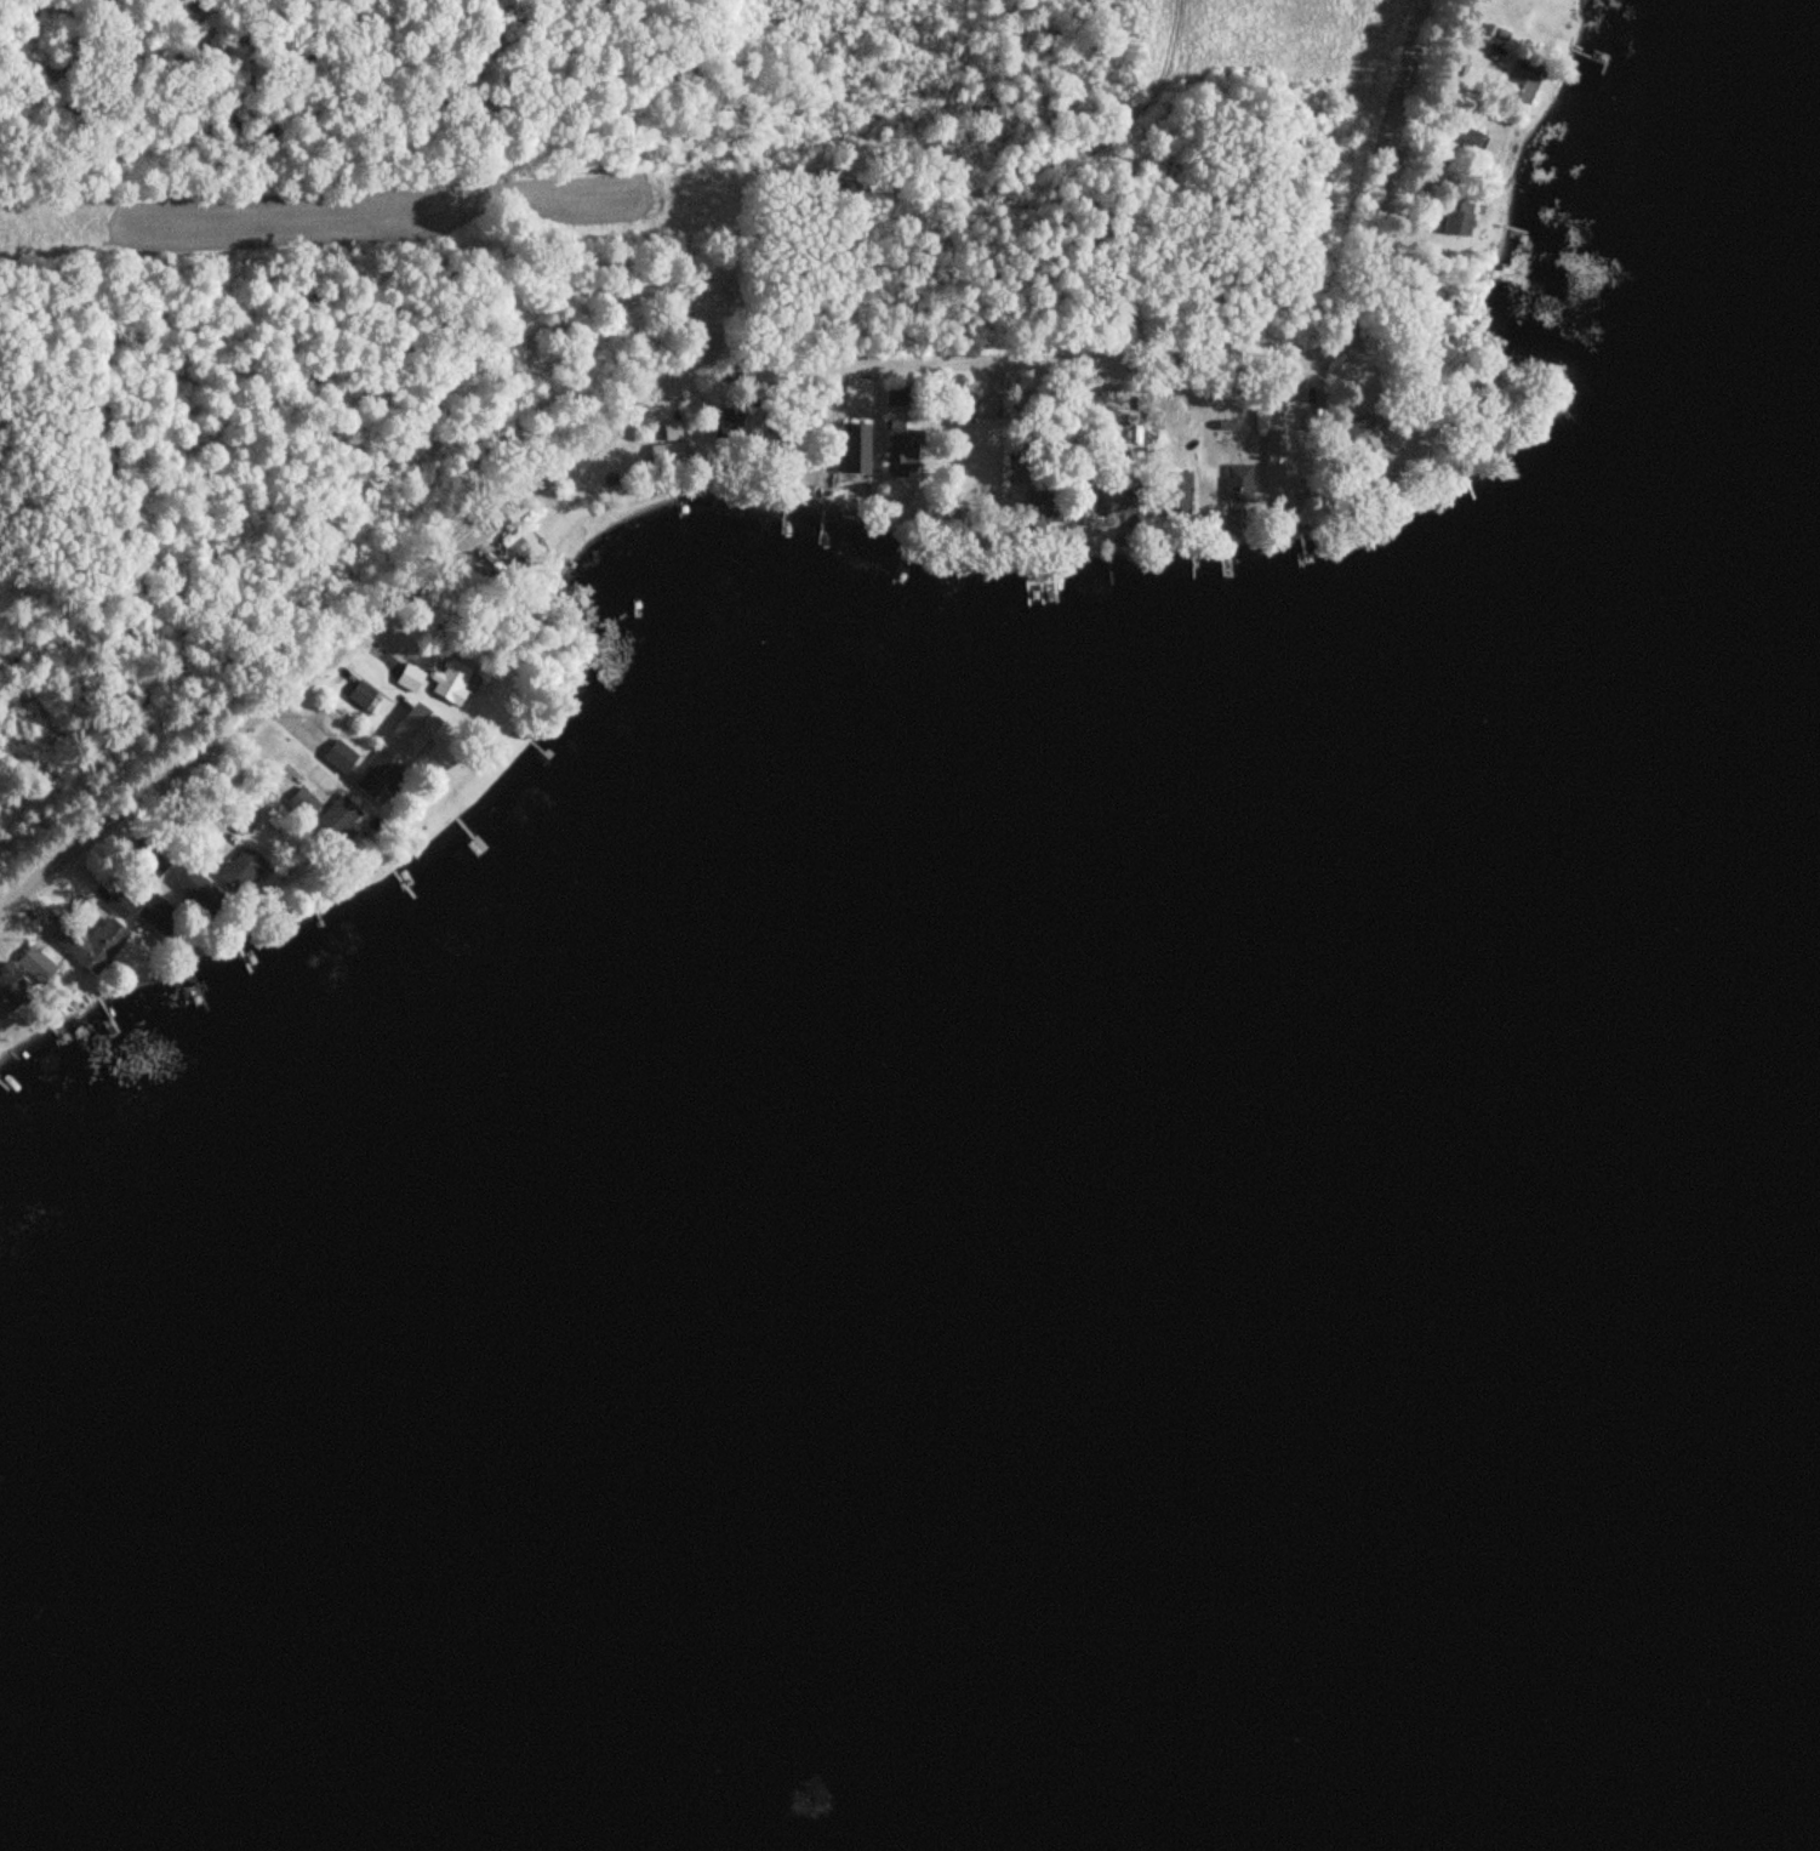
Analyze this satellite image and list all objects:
building: (1519, 86)
building: (1453, 223)
road: (1267, 357)
building: (958, 409)
building: (1273, 443)
building: (669, 444)
building: (900, 446)
building: (852, 449)
building: (1236, 484)
building: (1174, 496)
road: (377, 614)
building: (409, 678)
building: (451, 680)
building: (361, 695)
road: (285, 713)
building: (413, 727)
road: (310, 736)
building: (340, 756)
building: (376, 773)
building: (335, 820)
building: (240, 868)
building: (201, 893)
building: (159, 916)
building: (35, 964)
building: (10, 984)

